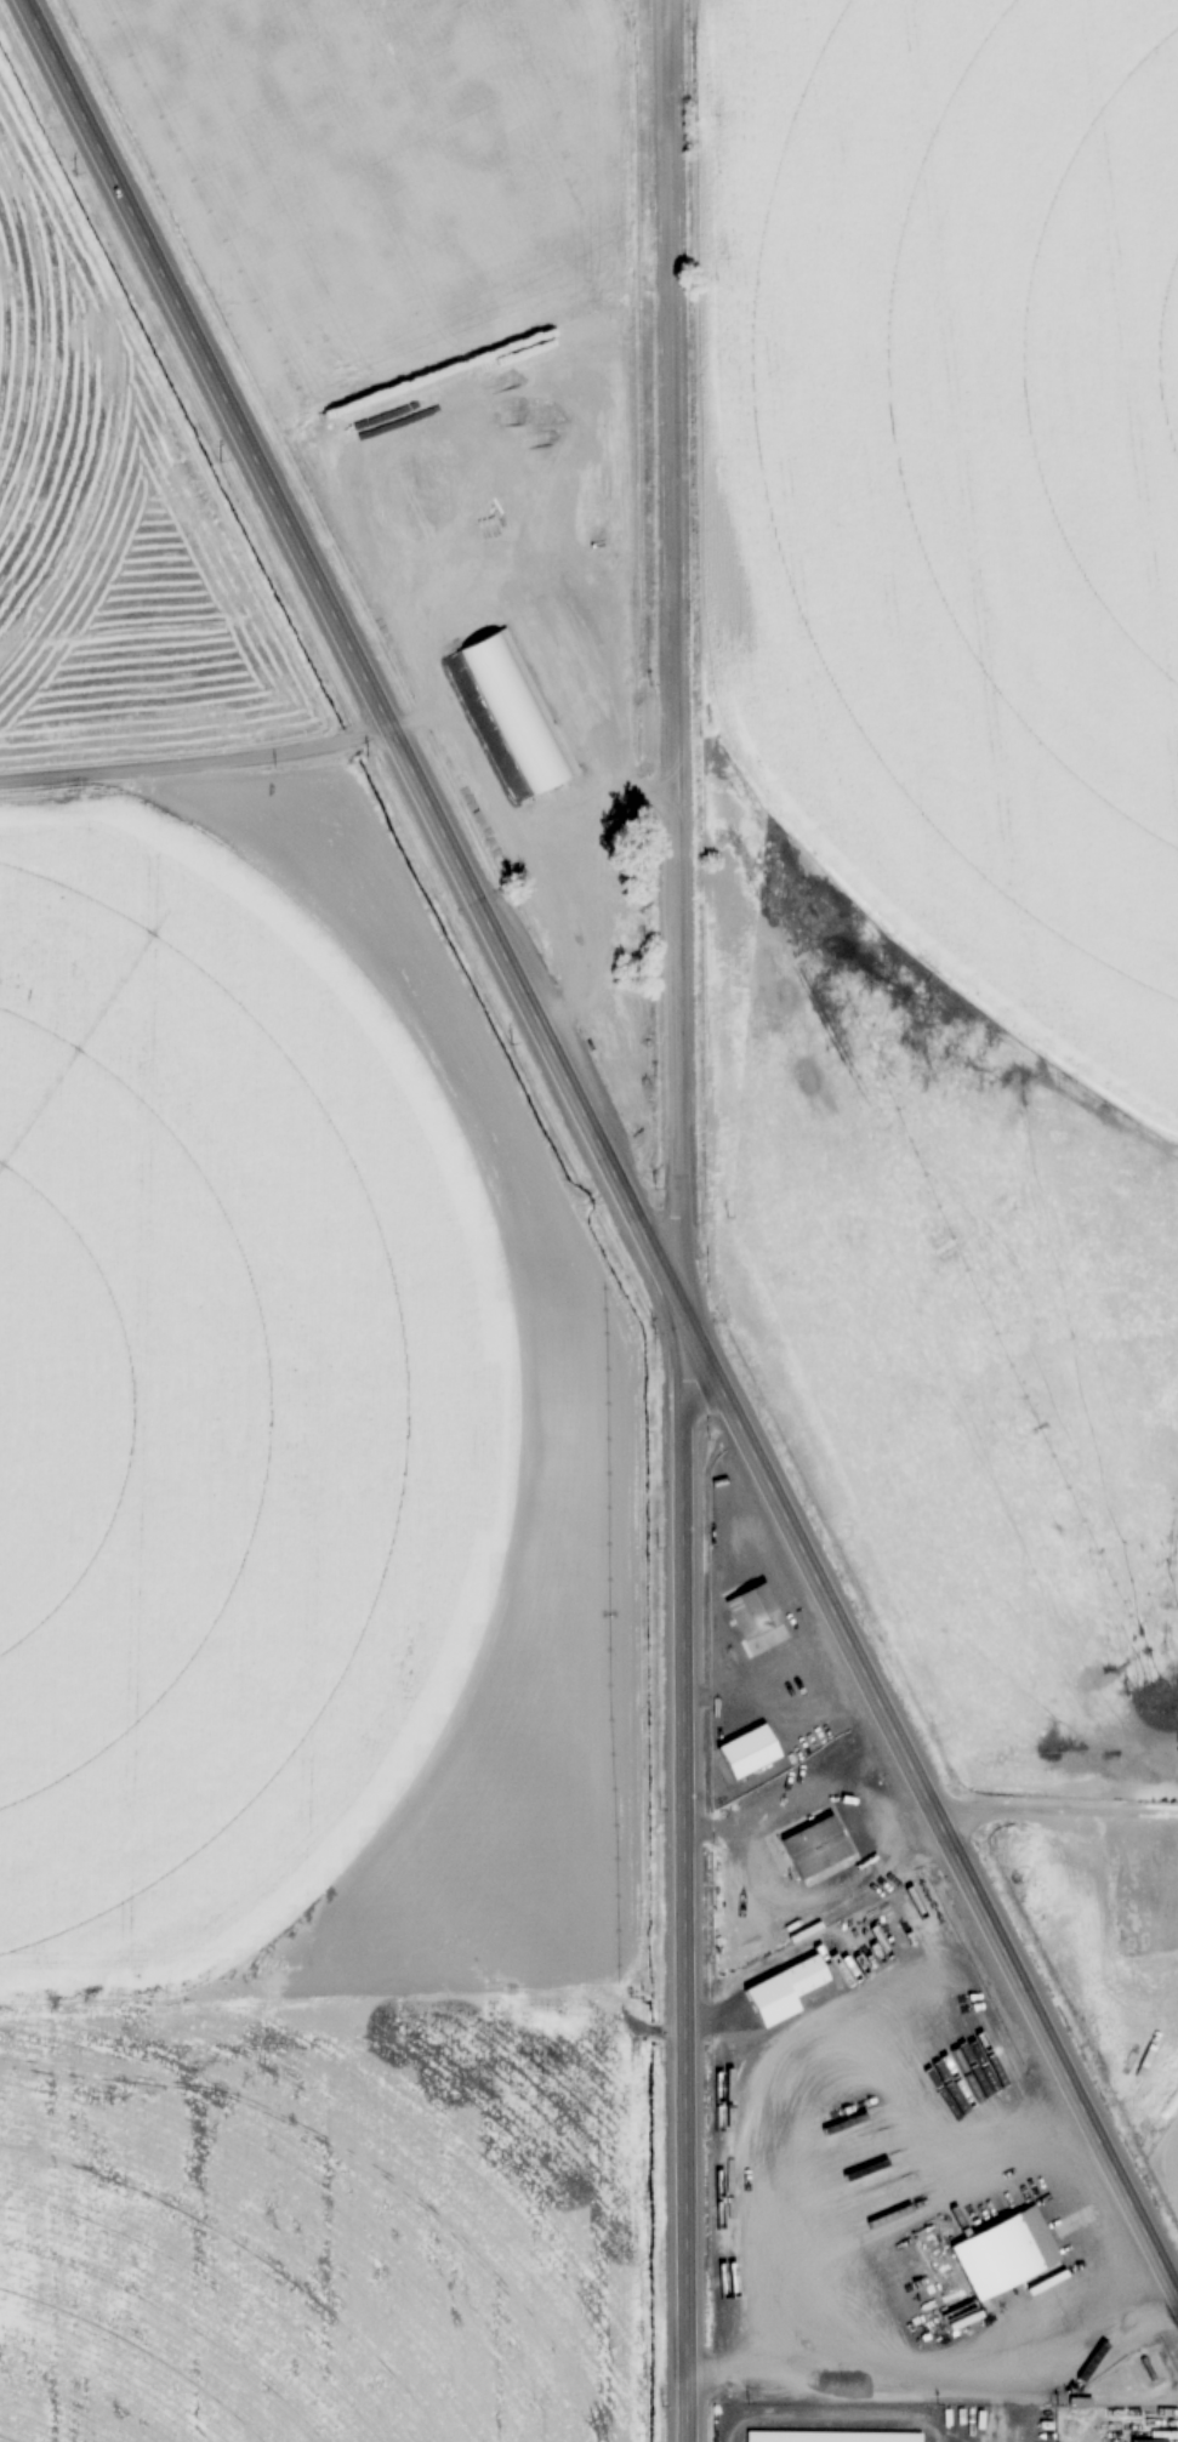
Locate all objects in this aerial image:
building: (620, 450)
road: (671, 651)
building: (517, 713)
road: (195, 758)
road: (601, 1151)
building: (756, 1611)
road: (1052, 1805)
building: (815, 1848)
road: (678, 1873)
building: (784, 1991)
building: (1007, 2255)
building: (833, 2436)
building: (1150, 2441)

